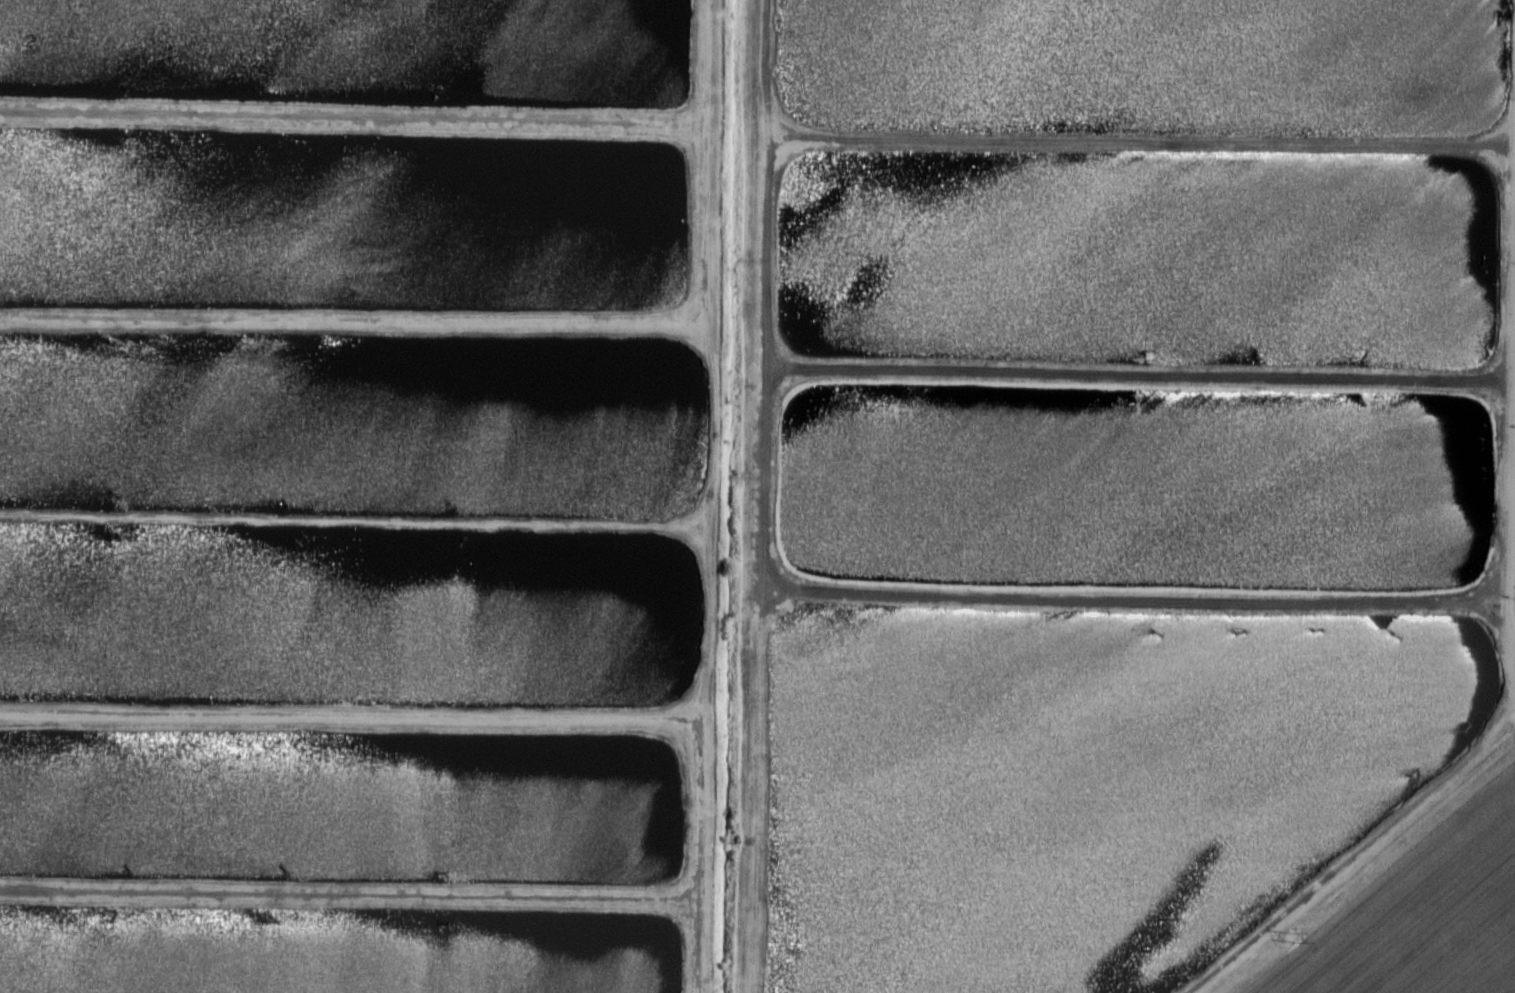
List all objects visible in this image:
road: (1505, 340)
road: (706, 496)
road: (756, 496)
road: (1355, 850)
power tower: (1291, 938)

